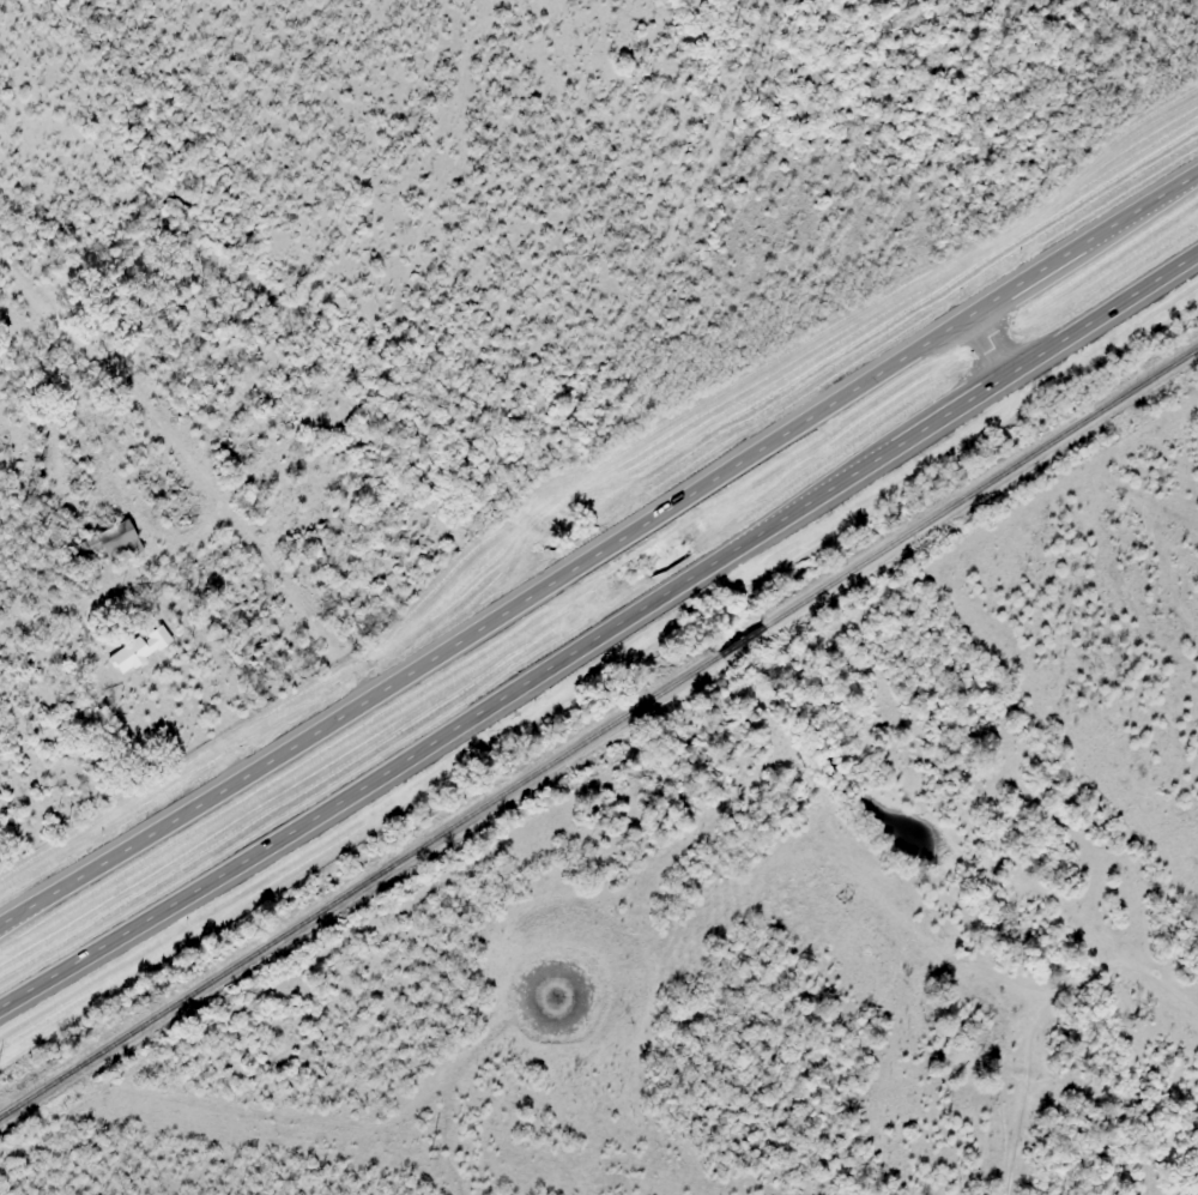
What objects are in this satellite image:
road: (987, 338)
building: (116, 542)
road: (593, 554)
road: (605, 636)
building: (138, 648)
railway: (598, 737)
power tower: (429, 1153)

